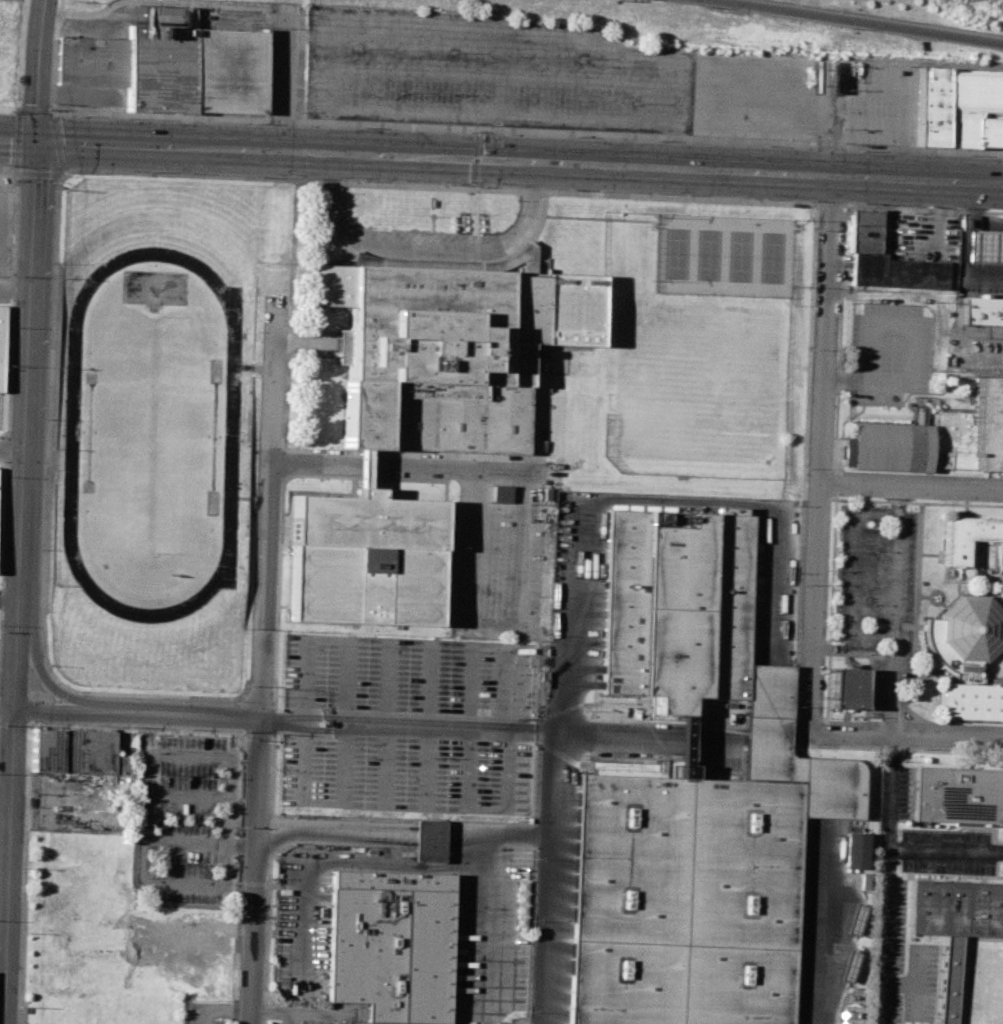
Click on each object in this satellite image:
road: (248, 15)
road: (866, 21)
road: (526, 35)
road: (54, 57)
road: (20, 64)
building: (171, 66)
road: (41, 71)
parking lot: (488, 73)
road: (284, 78)
road: (317, 93)
parking lot: (804, 97)
building: (961, 108)
street lamp: (54, 110)
street lamp: (12, 112)
street lamp: (75, 116)
road: (493, 116)
street lamp: (148, 119)
road: (787, 122)
street lamp: (253, 123)
street lamp: (356, 127)
street lamp: (463, 131)
road: (528, 132)
street lamp: (570, 136)
road: (497, 138)
street lamp: (653, 139)
road: (17, 140)
road: (19, 142)
traffic signals: (38, 143)
road: (57, 144)
road: (708, 144)
street lamp: (760, 145)
street lamp: (858, 150)
road: (905, 153)
street lamp: (965, 155)
road: (435, 157)
street lamp: (146, 172)
road: (39, 173)
street lamp: (74, 173)
street lamp: (252, 175)
road: (918, 179)
street lamp: (356, 180)
street lamp: (446, 184)
street lamp: (567, 189)
street lamp: (648, 192)
street lamp: (344, 193)
street lamp: (759, 198)
street lamp: (517, 199)
road: (964, 202)
road: (808, 203)
road: (816, 203)
road: (830, 203)
street lamp: (855, 203)
street lamp: (957, 207)
road: (922, 208)
flagpole: (431, 216)
road: (471, 219)
street lamp: (366, 228)
street lamp: (408, 230)
street lamp: (816, 230)
street lamp: (451, 232)
street lamp: (494, 232)
building: (865, 232)
parking lot: (921, 237)
road: (945, 239)
road: (962, 247)
road: (427, 248)
building: (984, 248)
gas station: (984, 248)
park: (738, 256)
building: (524, 259)
building: (899, 273)
road: (16, 282)
road: (12, 304)
building: (983, 311)
building: (1, 344)
road: (911, 347)
street lamp: (811, 349)
building: (446, 350)
parking lot: (892, 351)
building: (992, 359)
road: (29, 372)
park: (695, 388)
park: (151, 435)
track: (230, 435)
building: (933, 438)
road: (284, 443)
road: (12, 452)
road: (823, 454)
road: (400, 468)
street lamp: (807, 468)
road: (918, 475)
road: (834, 483)
road: (912, 487)
building: (500, 493)
street lamp: (837, 495)
road: (806, 499)
road: (818, 499)
street lamp: (943, 501)
road: (915, 502)
street lamp: (878, 504)
road: (911, 504)
road: (45, 531)
building: (970, 538)
street lamp: (876, 550)
building: (362, 558)
road: (853, 573)
street lamp: (802, 584)
road: (915, 588)
road: (930, 594)
parking lot: (875, 596)
road: (576, 597)
road: (922, 597)
road: (10, 602)
street lamp: (873, 603)
building: (678, 607)
road: (892, 613)
road: (914, 620)
street lamp: (1, 624)
road: (277, 628)
road: (834, 636)
street lamp: (868, 653)
road: (826, 655)
road: (876, 655)
building: (966, 656)
road: (261, 659)
road: (896, 661)
street lamp: (50, 664)
road: (869, 667)
road: (915, 672)
road: (40, 676)
road: (990, 678)
road: (991, 679)
parking lot: (426, 685)
building: (846, 688)
road: (826, 695)
street lamp: (156, 697)
road: (903, 698)
street lamp: (229, 700)
street lamp: (869, 705)
street lamp: (797, 706)
road: (8, 707)
road: (846, 711)
road: (899, 713)
road: (137, 714)
flagpole: (856, 716)
flagpole: (860, 716)
road: (845, 717)
road: (845, 720)
road: (499, 726)
road: (133, 728)
road: (908, 740)
street lamp: (923, 748)
building: (76, 752)
street lamp: (900, 762)
street lamp: (269, 769)
building: (958, 793)
road: (13, 813)
parking lot: (185, 820)
road: (333, 829)
road: (428, 832)
road: (498, 835)
building: (428, 841)
road: (239, 844)
building: (854, 850)
road: (945, 851)
road: (340, 861)
street lamp: (1002, 862)
street lamp: (895, 863)
street lamp: (265, 878)
road: (139, 880)
road: (886, 881)
road: (253, 882)
building: (684, 901)
building: (520, 904)
building: (955, 907)
building: (854, 921)
street lamp: (893, 924)
road: (489, 925)
road: (823, 925)
parking lot: (299, 928)
building: (388, 944)
road: (4, 956)
building: (848, 966)
street lamp: (262, 990)
road: (221, 1007)
road: (269, 1010)
parking lot: (205, 1014)
road: (305, 1015)
street lamp: (308, 1020)
parking lot: (297, 1021)
road: (22, 1023)

